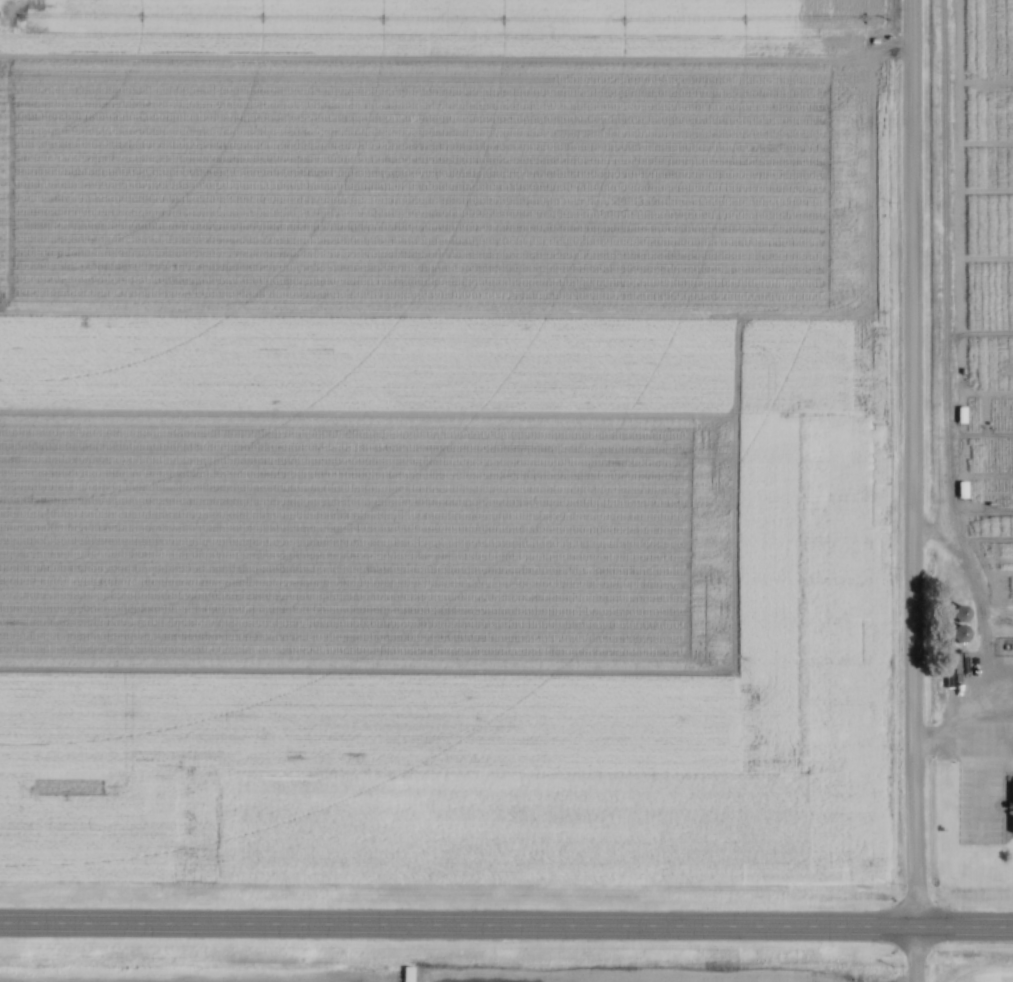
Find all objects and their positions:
road: (910, 491)
building: (960, 624)
road: (968, 709)
building: (1012, 829)
road: (506, 920)

